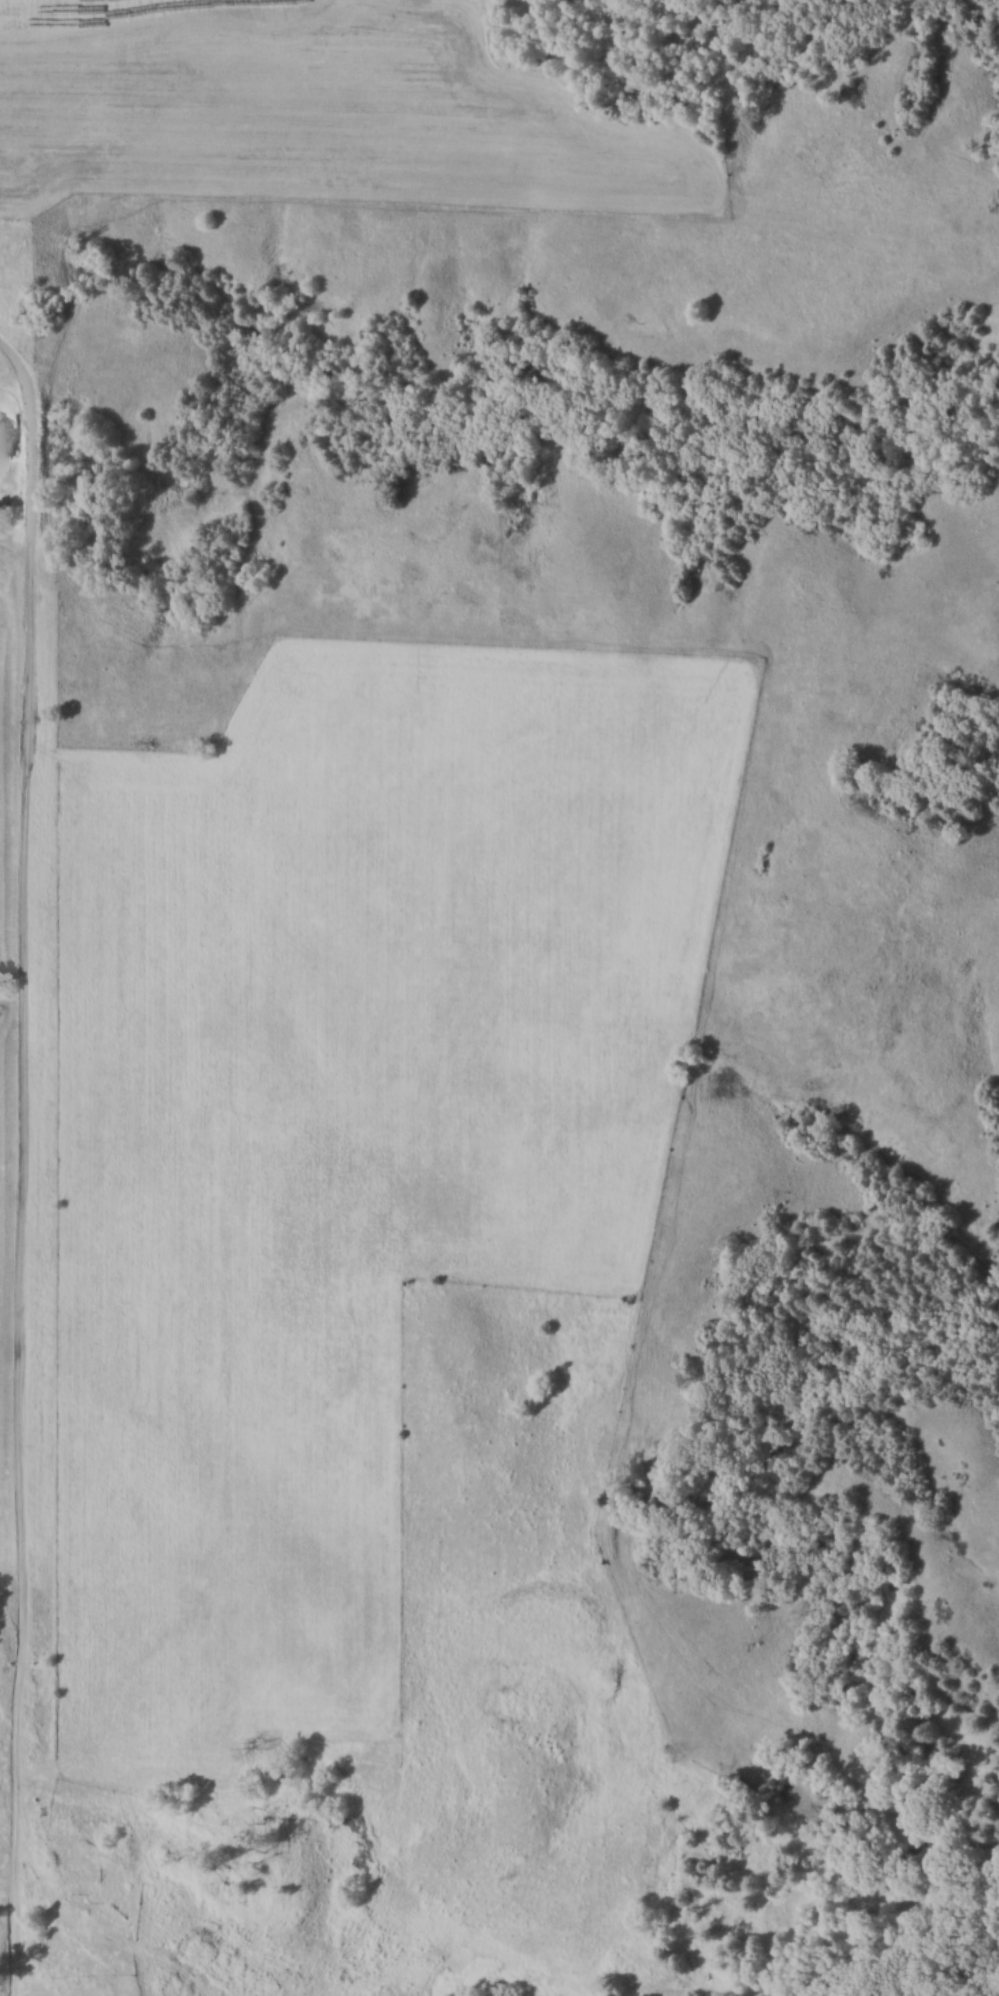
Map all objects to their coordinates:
road: (12, 1944)

